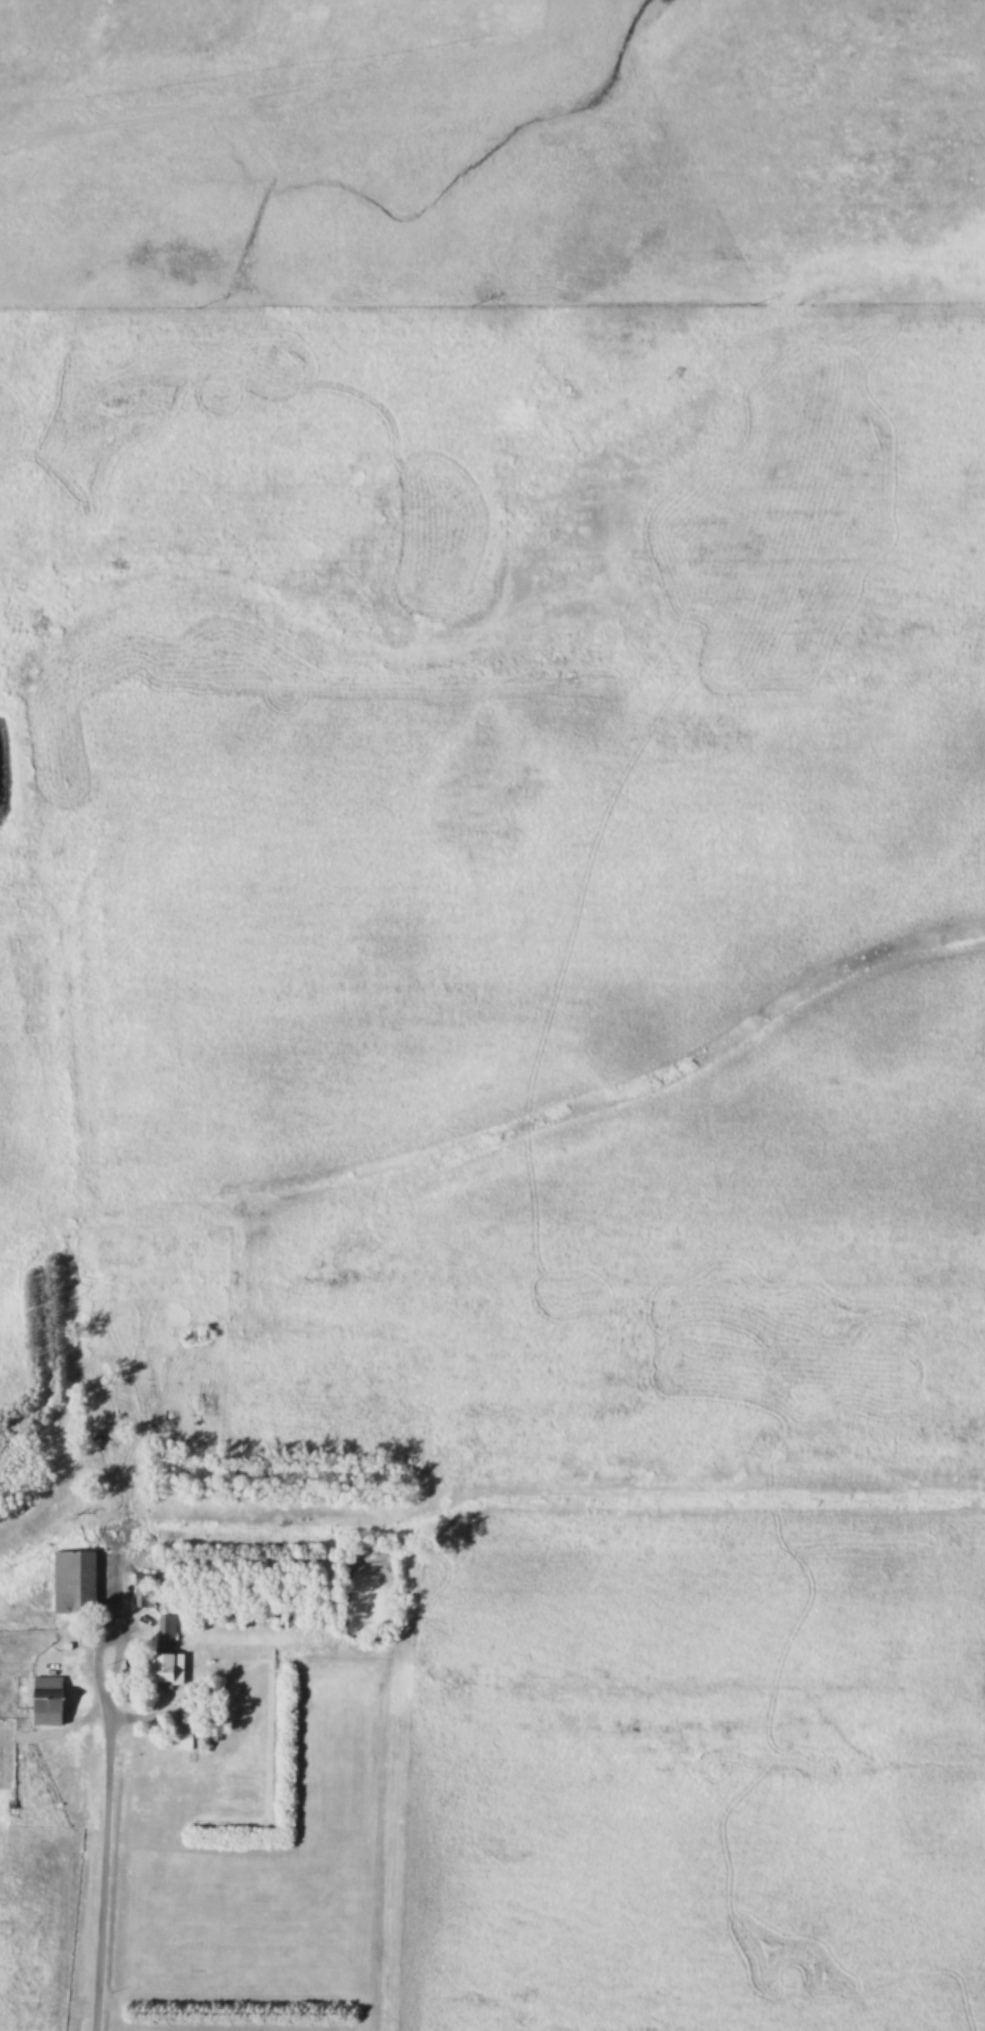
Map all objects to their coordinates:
building: (73, 1583)
building: (144, 1591)
building: (165, 1656)
road: (105, 1694)
building: (45, 1702)
building: (184, 1743)
road: (106, 1879)

